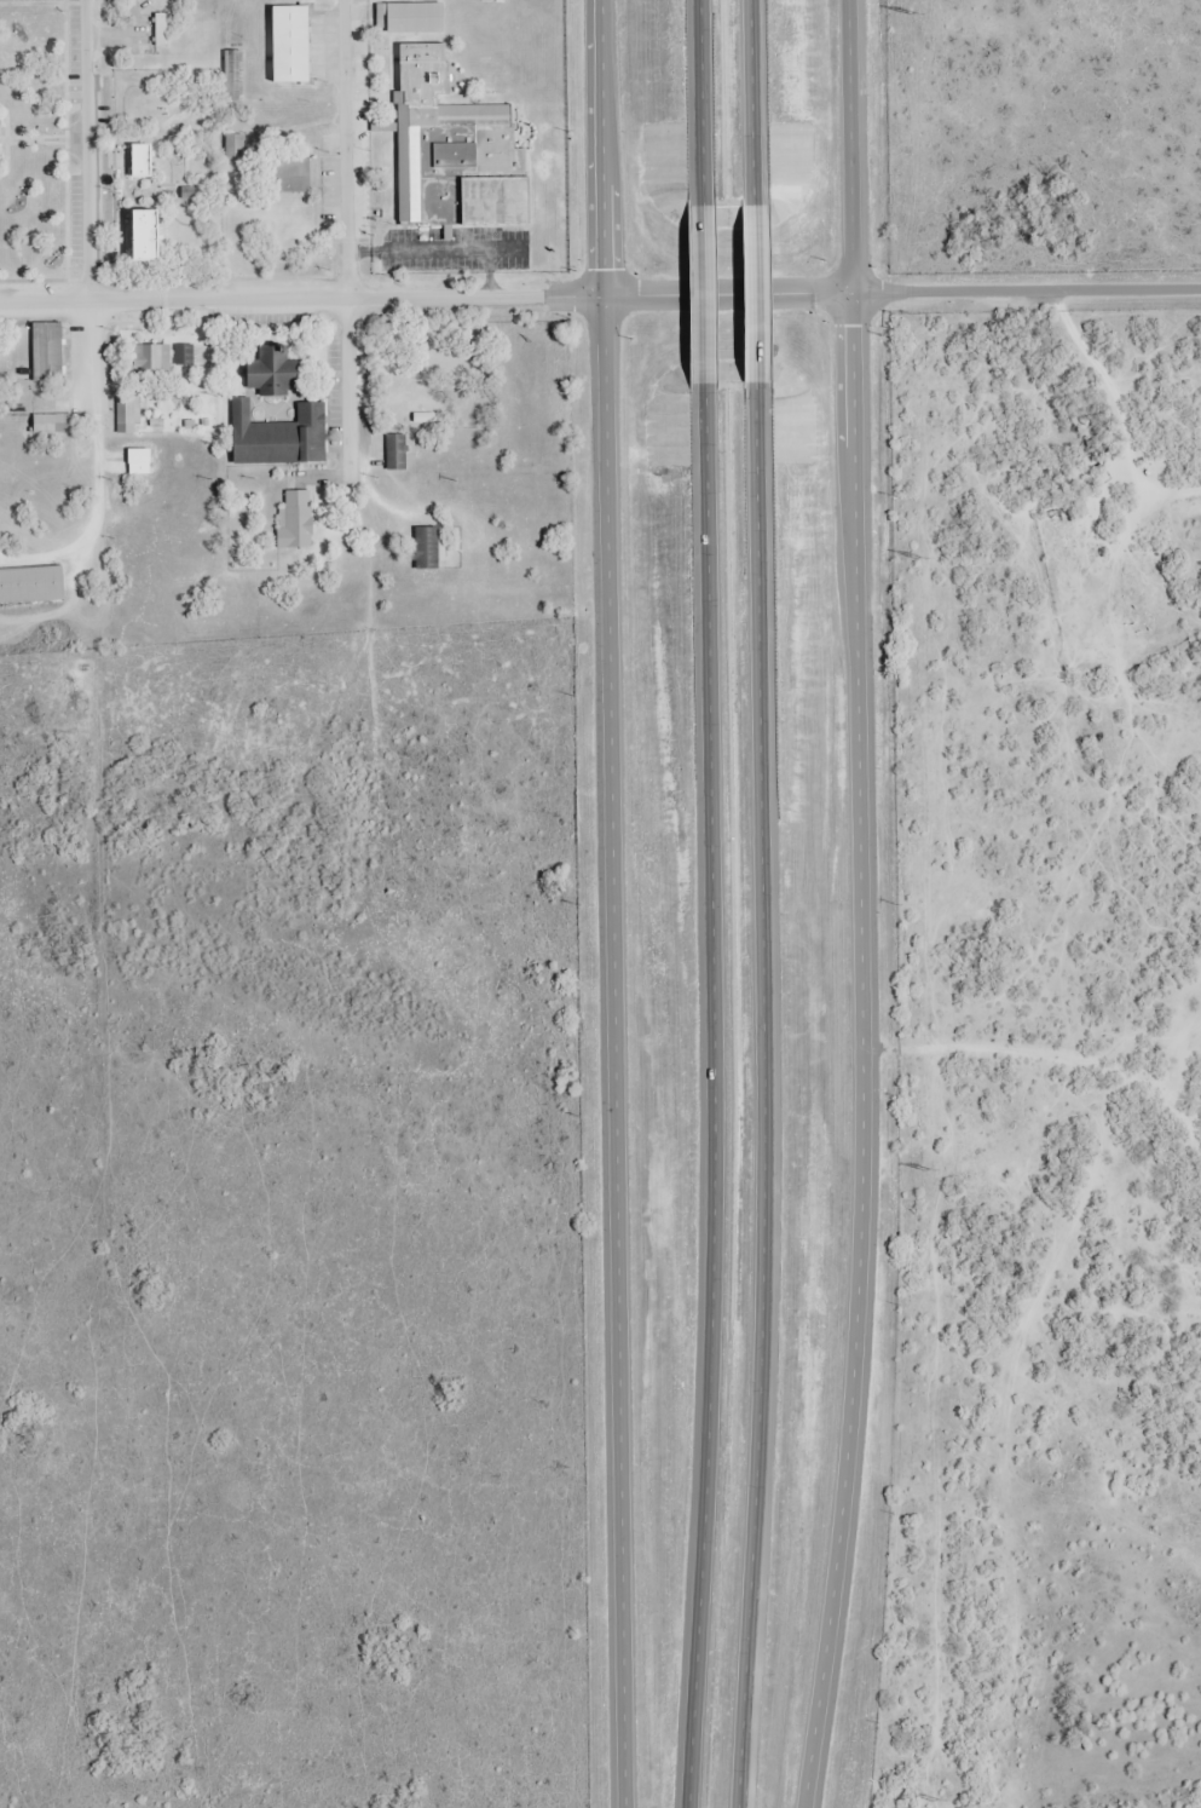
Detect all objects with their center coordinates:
power tower: (913, 12)
building: (416, 17)
building: (163, 28)
building: (293, 44)
road: (701, 102)
road: (753, 102)
building: (0, 142)
road: (351, 150)
building: (456, 150)
road: (96, 151)
building: (144, 161)
building: (148, 235)
road: (756, 293)
road: (1028, 293)
road: (703, 294)
road: (427, 299)
building: (50, 351)
building: (185, 352)
building: (154, 361)
building: (275, 374)
building: (129, 413)
building: (54, 422)
building: (282, 434)
building: (398, 449)
building: (140, 460)
building: (298, 518)
building: (428, 546)
power tower: (919, 558)
building: (33, 583)
road: (618, 903)
road: (860, 905)
road: (767, 1094)
road: (714, 1095)
power tower: (929, 1169)
power tower: (937, 1801)

